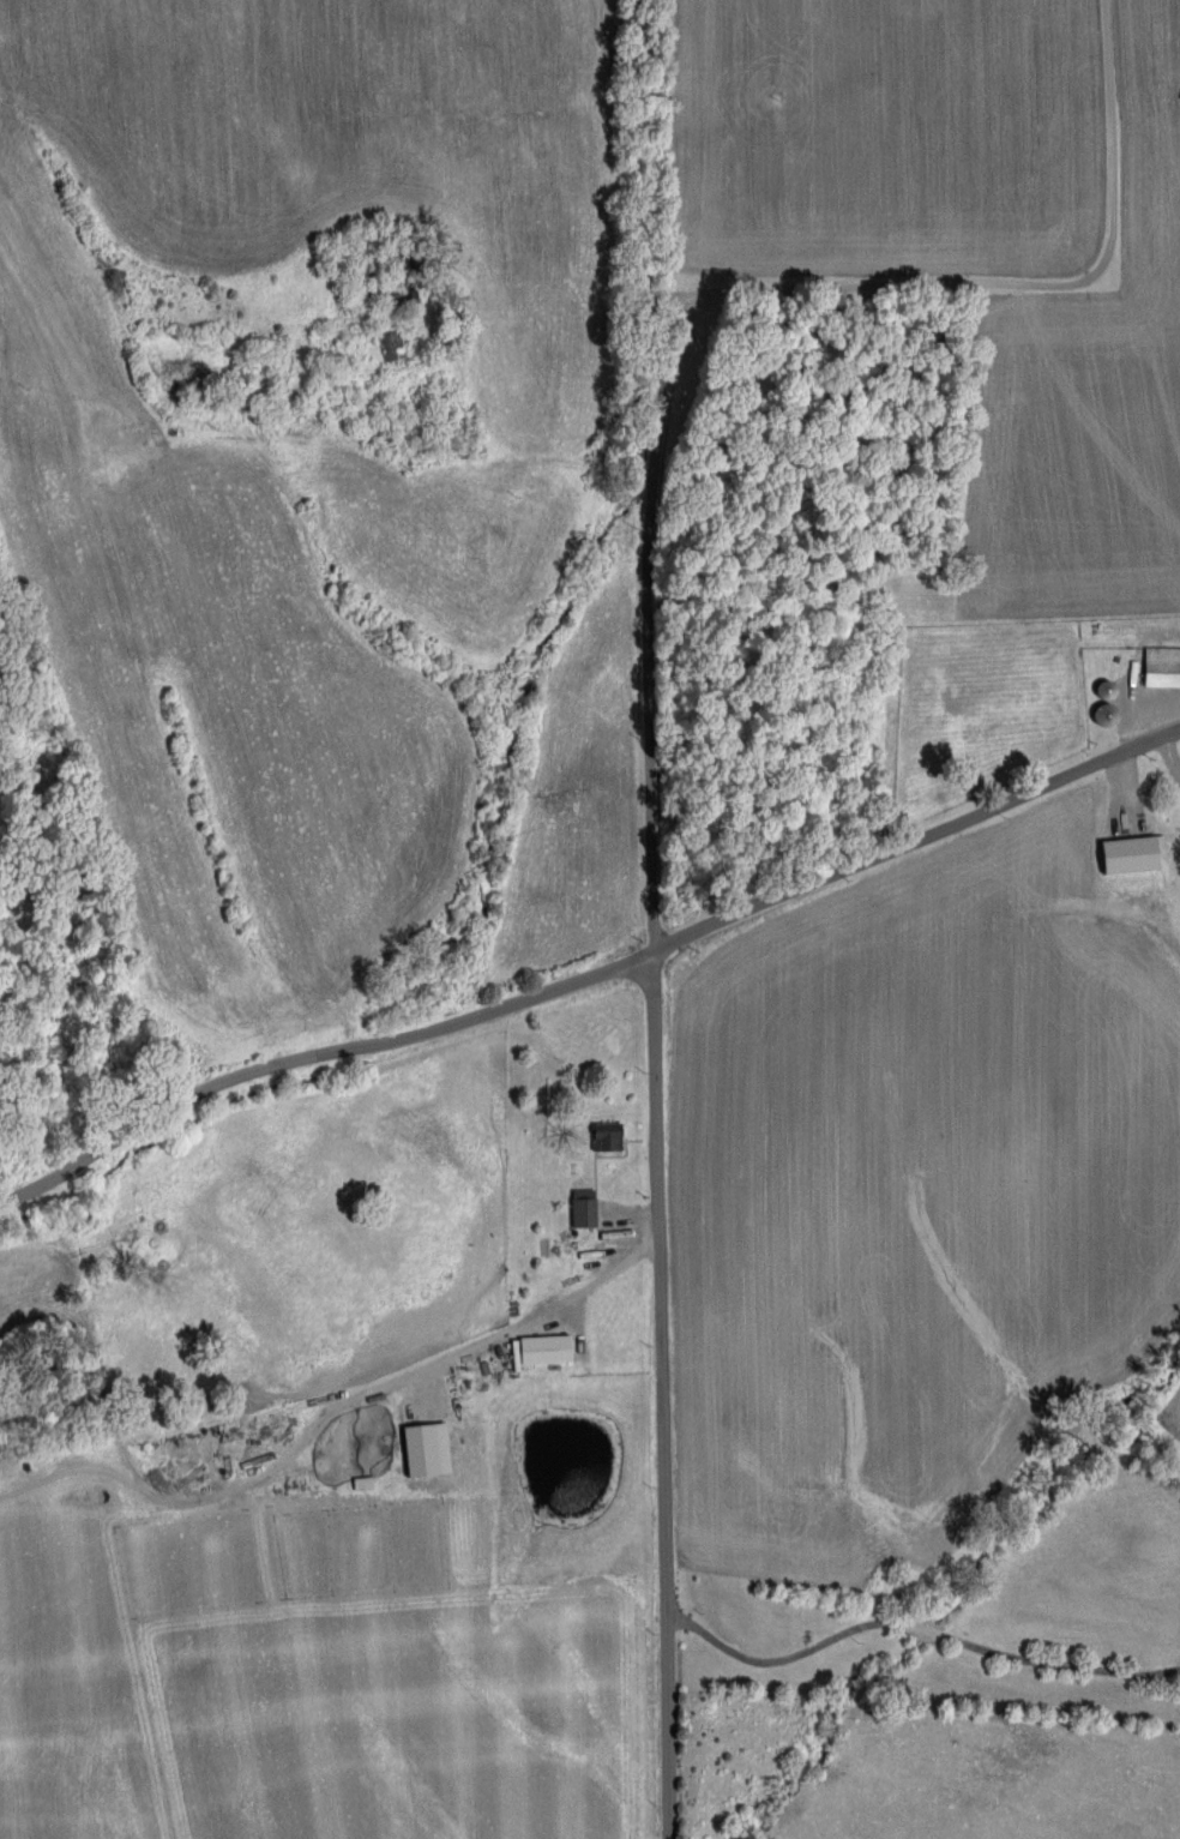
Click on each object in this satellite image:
road: (692, 294)
building: (1158, 667)
building: (1125, 854)
road: (596, 974)
building: (600, 1135)
building: (577, 1210)
building: (535, 1348)
road: (666, 1396)
building: (234, 1400)
building: (417, 1448)
road: (922, 1618)

